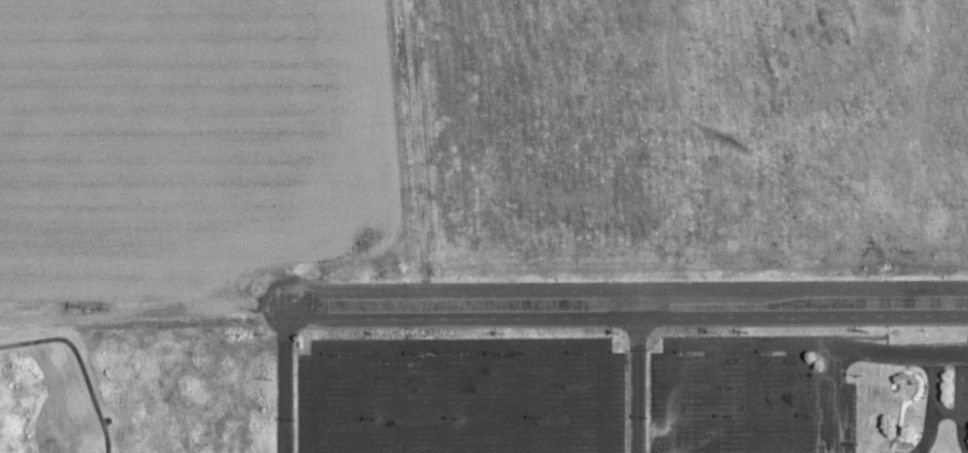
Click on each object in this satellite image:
road: (626, 290)
road: (638, 304)
road: (144, 308)
road: (626, 319)
road: (851, 349)
road: (287, 379)
road: (637, 386)

